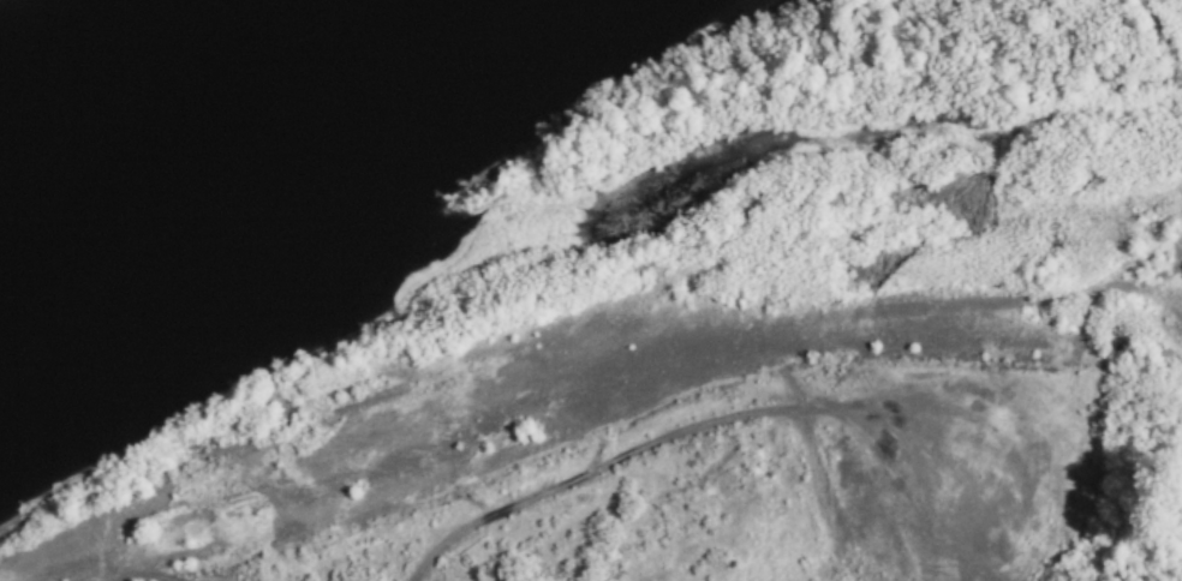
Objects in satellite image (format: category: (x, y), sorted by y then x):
river: (17, 8)

